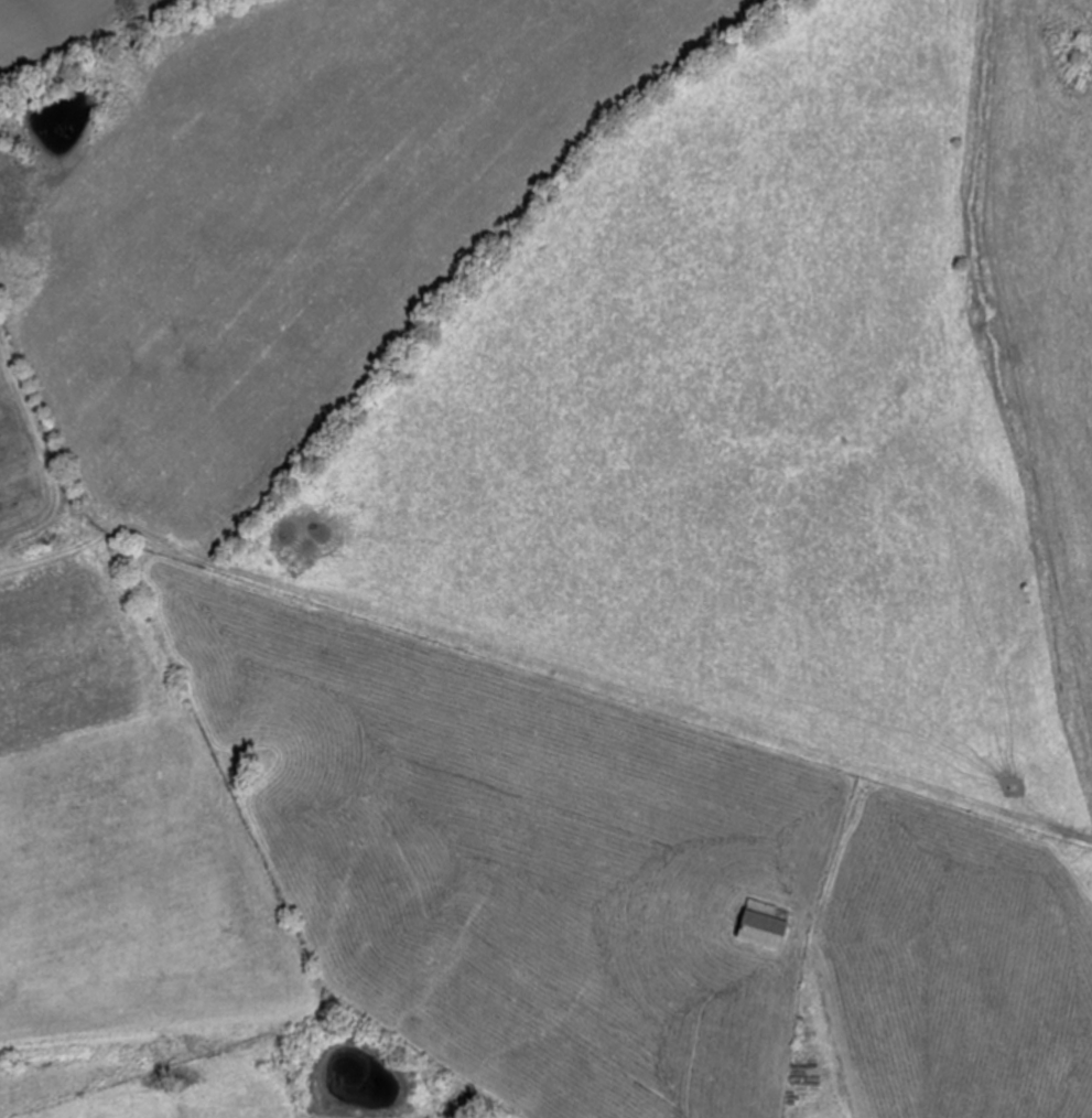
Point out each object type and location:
building: (764, 925)

